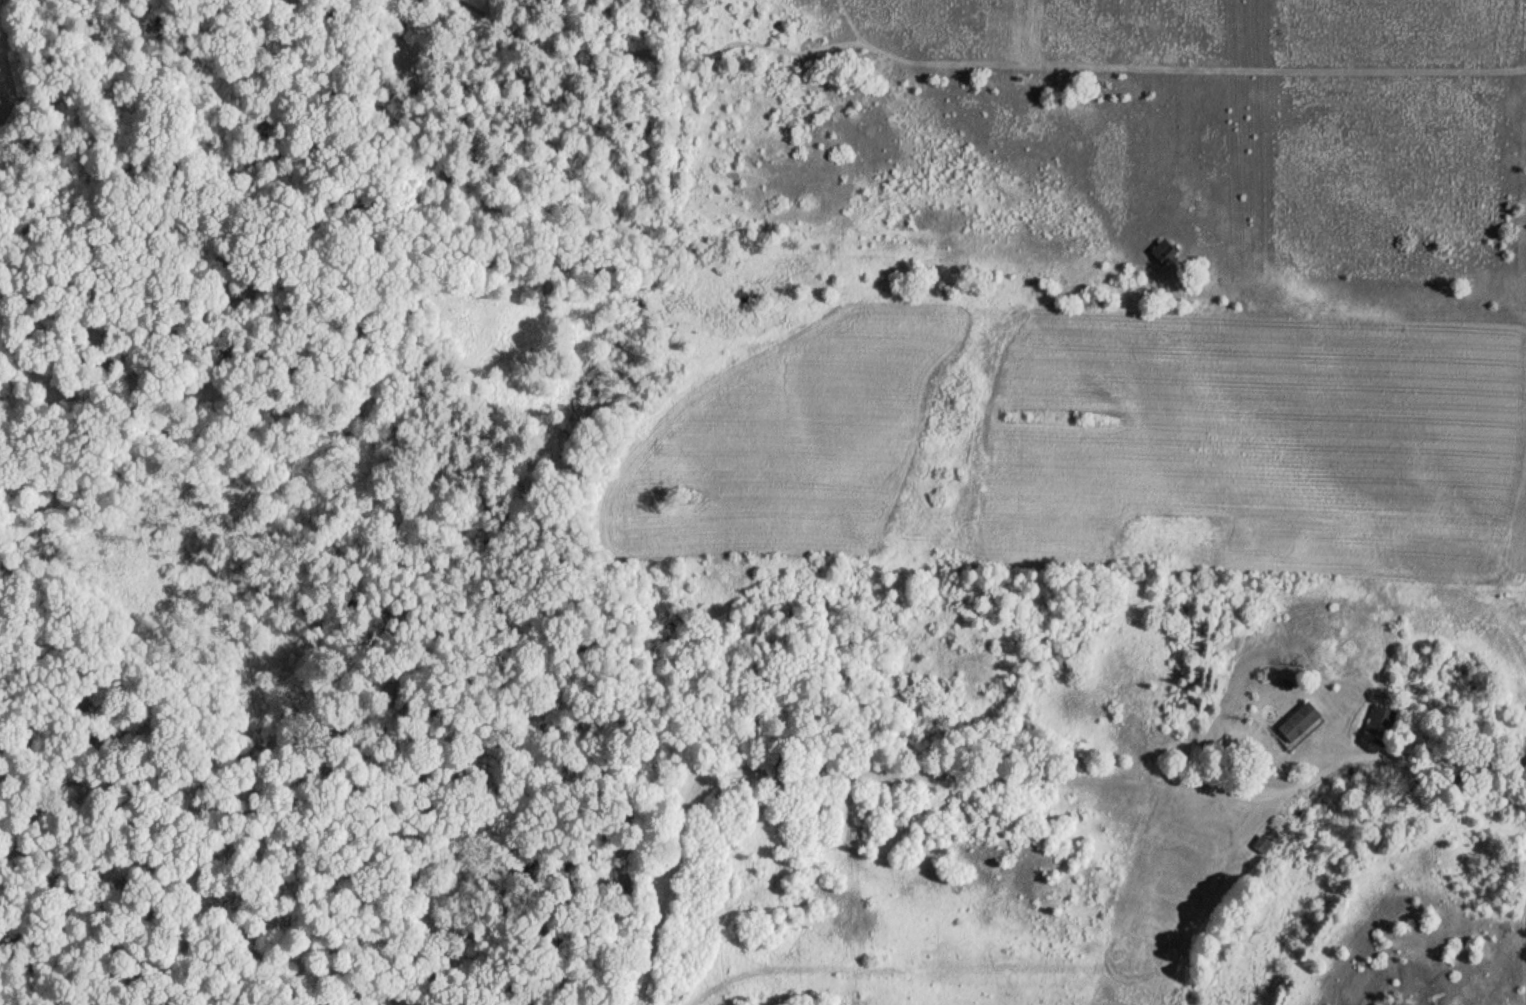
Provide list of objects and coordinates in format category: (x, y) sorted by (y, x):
building: (1161, 251)
building: (1377, 721)
building: (1295, 725)

